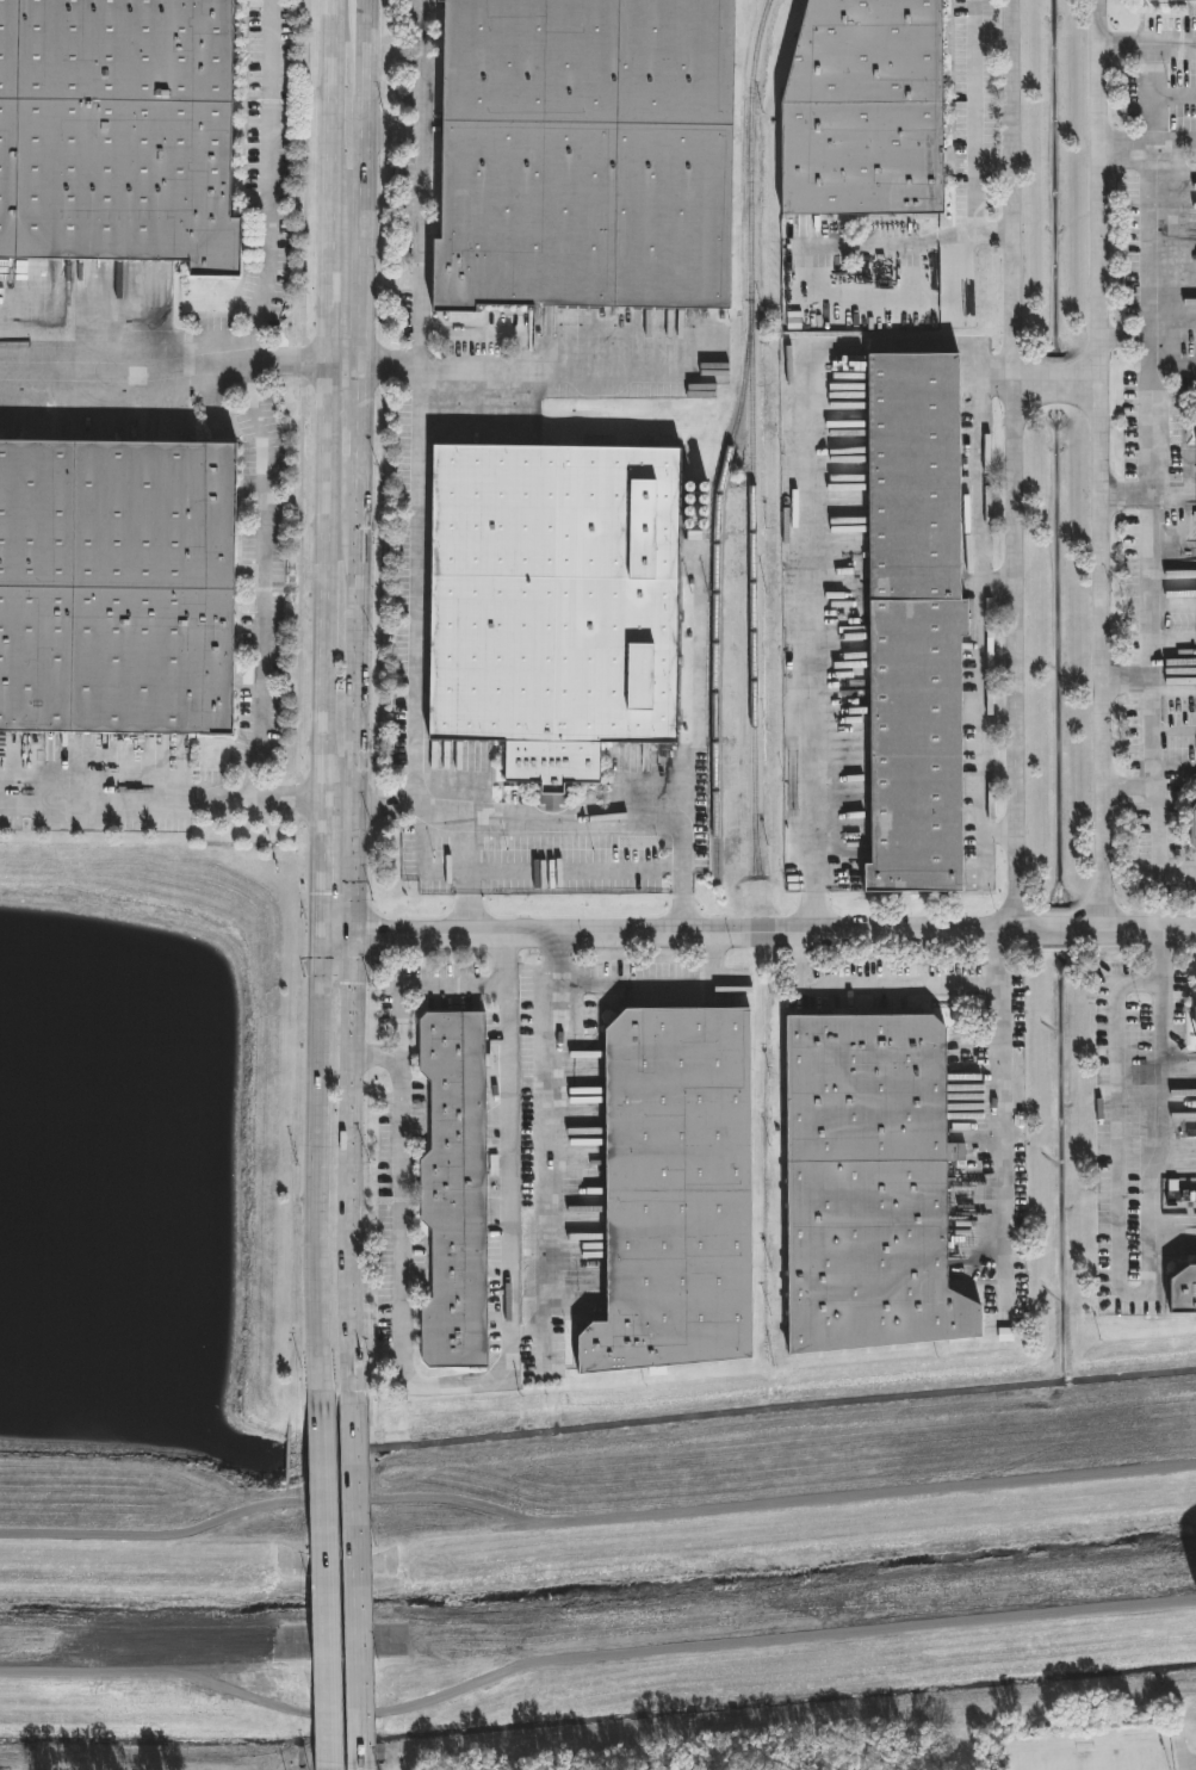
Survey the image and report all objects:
building: (1165, 0)
road: (1171, 49)
road: (422, 64)
road: (1172, 94)
building: (868, 109)
road: (329, 123)
building: (119, 131)
road: (973, 134)
road: (1172, 138)
building: (590, 154)
road: (1124, 154)
road: (361, 181)
road: (269, 182)
road: (421, 219)
road: (886, 245)
road: (327, 305)
road: (1126, 334)
road: (162, 364)
road: (342, 364)
road: (556, 370)
road: (1152, 395)
road: (358, 422)
road: (1102, 464)
road: (1018, 465)
road: (805, 471)
railway: (752, 472)
road: (1128, 495)
road: (419, 557)
road: (1000, 581)
road: (265, 584)
road: (321, 584)
building: (118, 587)
railway: (717, 587)
building: (558, 604)
building: (918, 624)
road: (983, 633)
road: (1130, 677)
road: (354, 707)
road: (159, 802)
road: (335, 805)
road: (631, 822)
road: (464, 823)
road: (1157, 824)
road: (1003, 834)
road: (316, 869)
railway: (762, 897)
road: (333, 935)
road: (774, 935)
road: (652, 980)
road: (897, 985)
road: (551, 1112)
road: (1004, 1141)
road: (352, 1153)
road: (315, 1155)
building: (872, 1187)
building: (458, 1192)
building: (680, 1193)
road: (1141, 1289)
building: (1185, 1293)
road: (429, 1387)
road: (357, 1571)
road: (321, 1572)
park: (1091, 1754)

